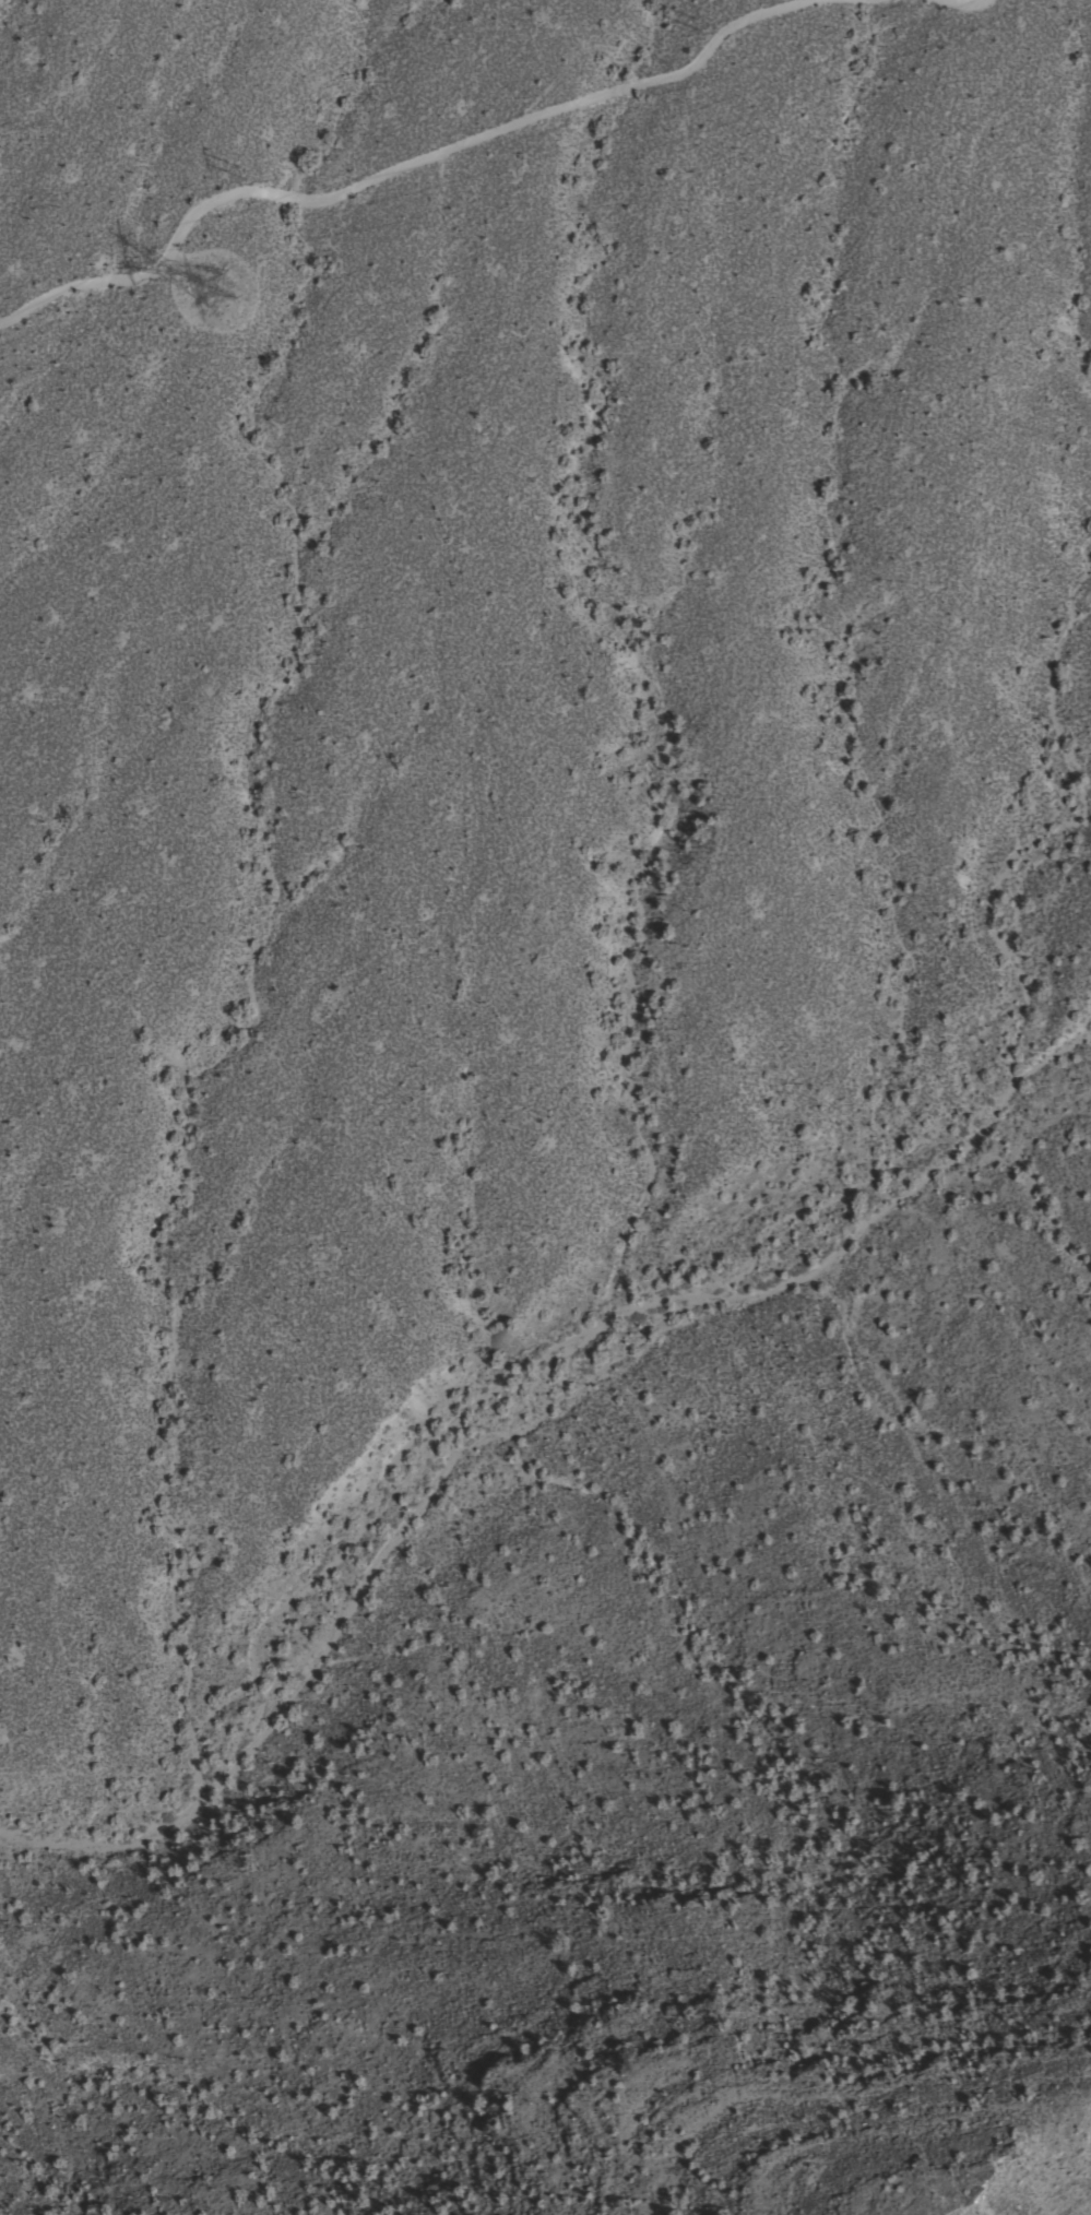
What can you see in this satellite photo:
road: (962, 2)
power tower: (695, 29)
road: (401, 167)
power tower: (232, 173)
power tower: (215, 288)

